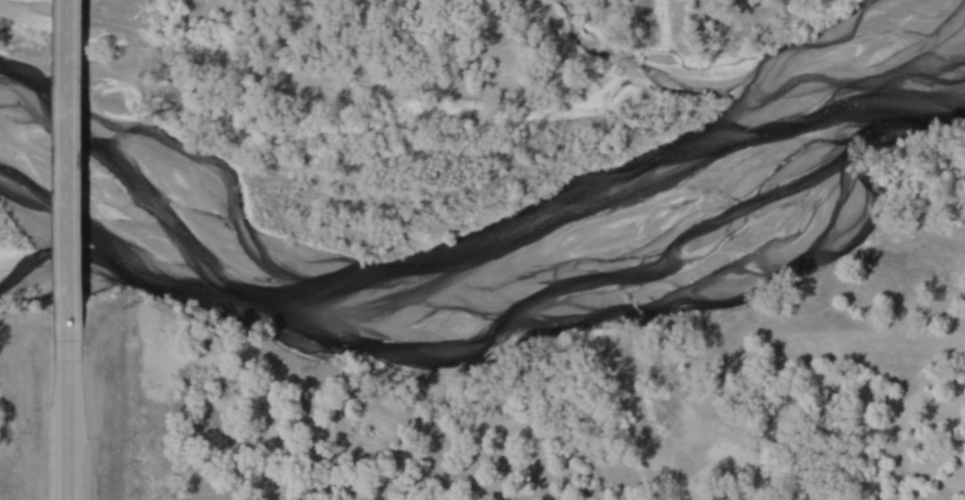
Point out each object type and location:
road: (67, 172)
river: (499, 264)
road: (67, 422)

